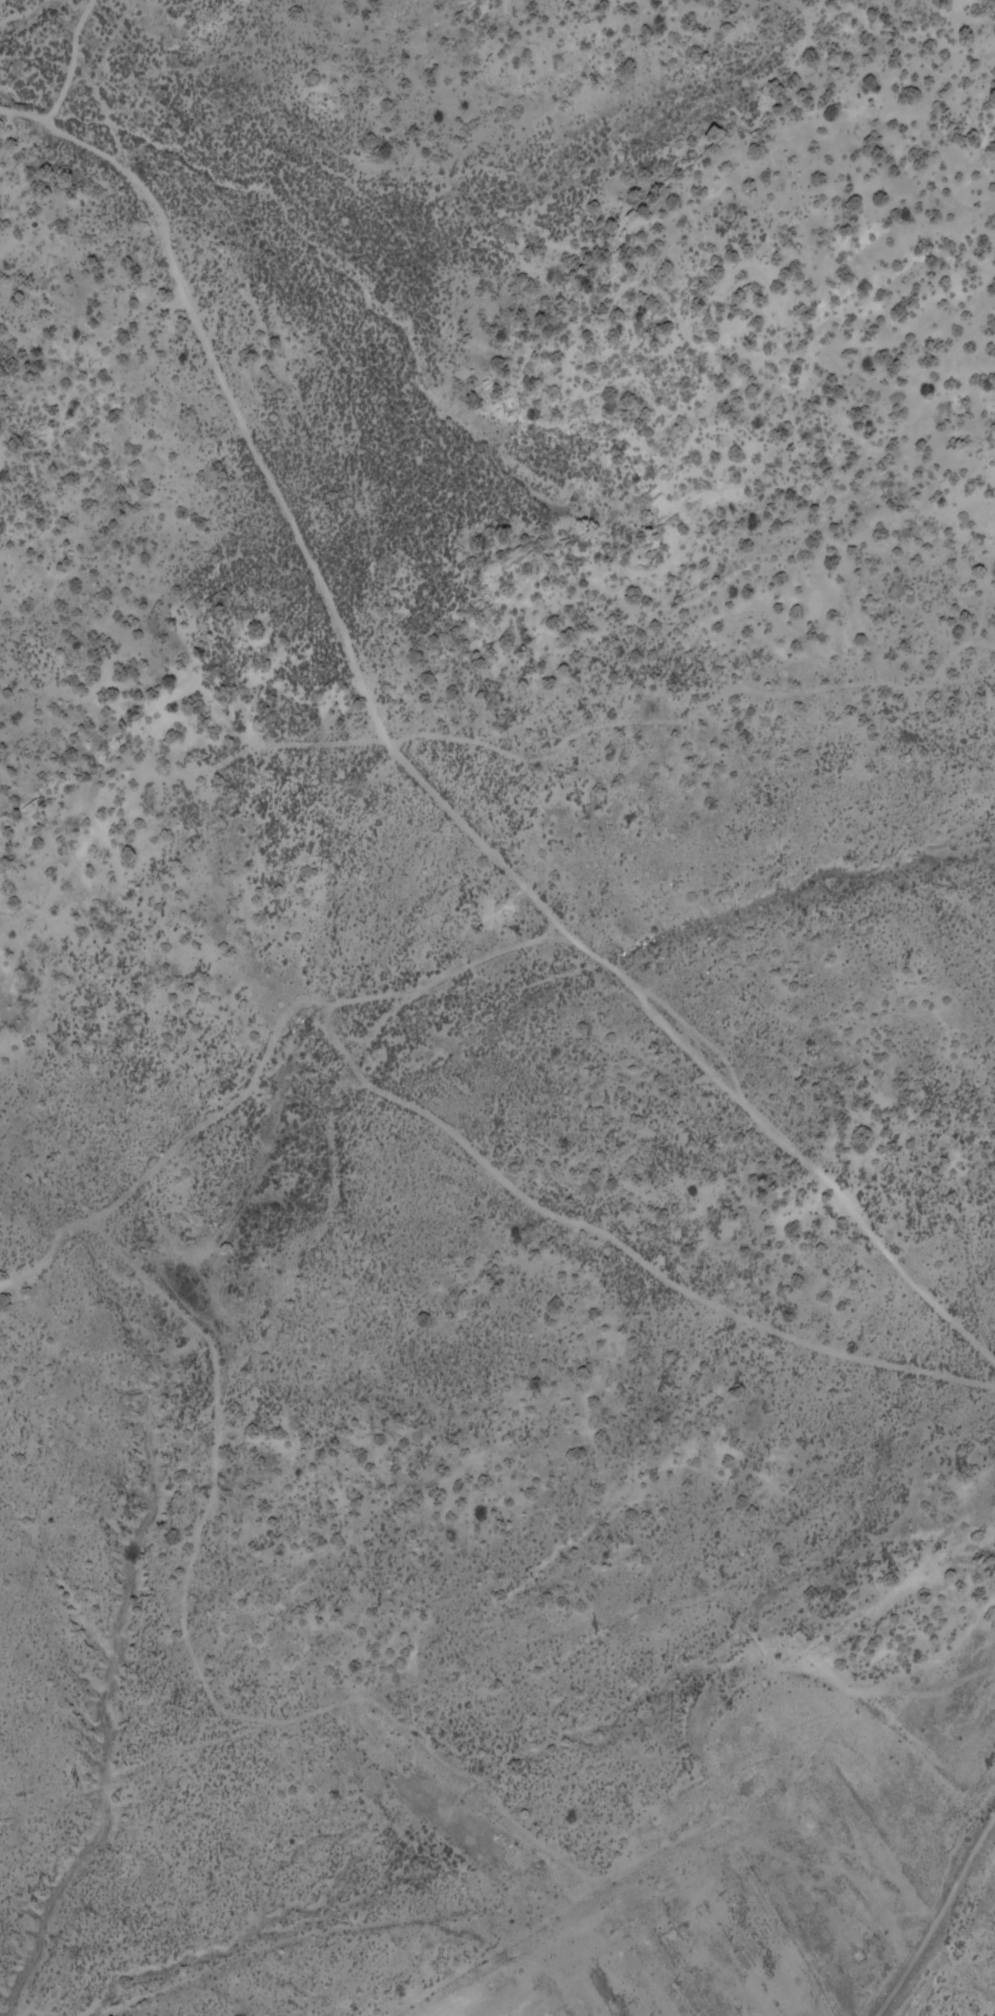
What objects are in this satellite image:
power tower: (590, 1631)
power tower: (78, 1783)
road: (956, 1979)

